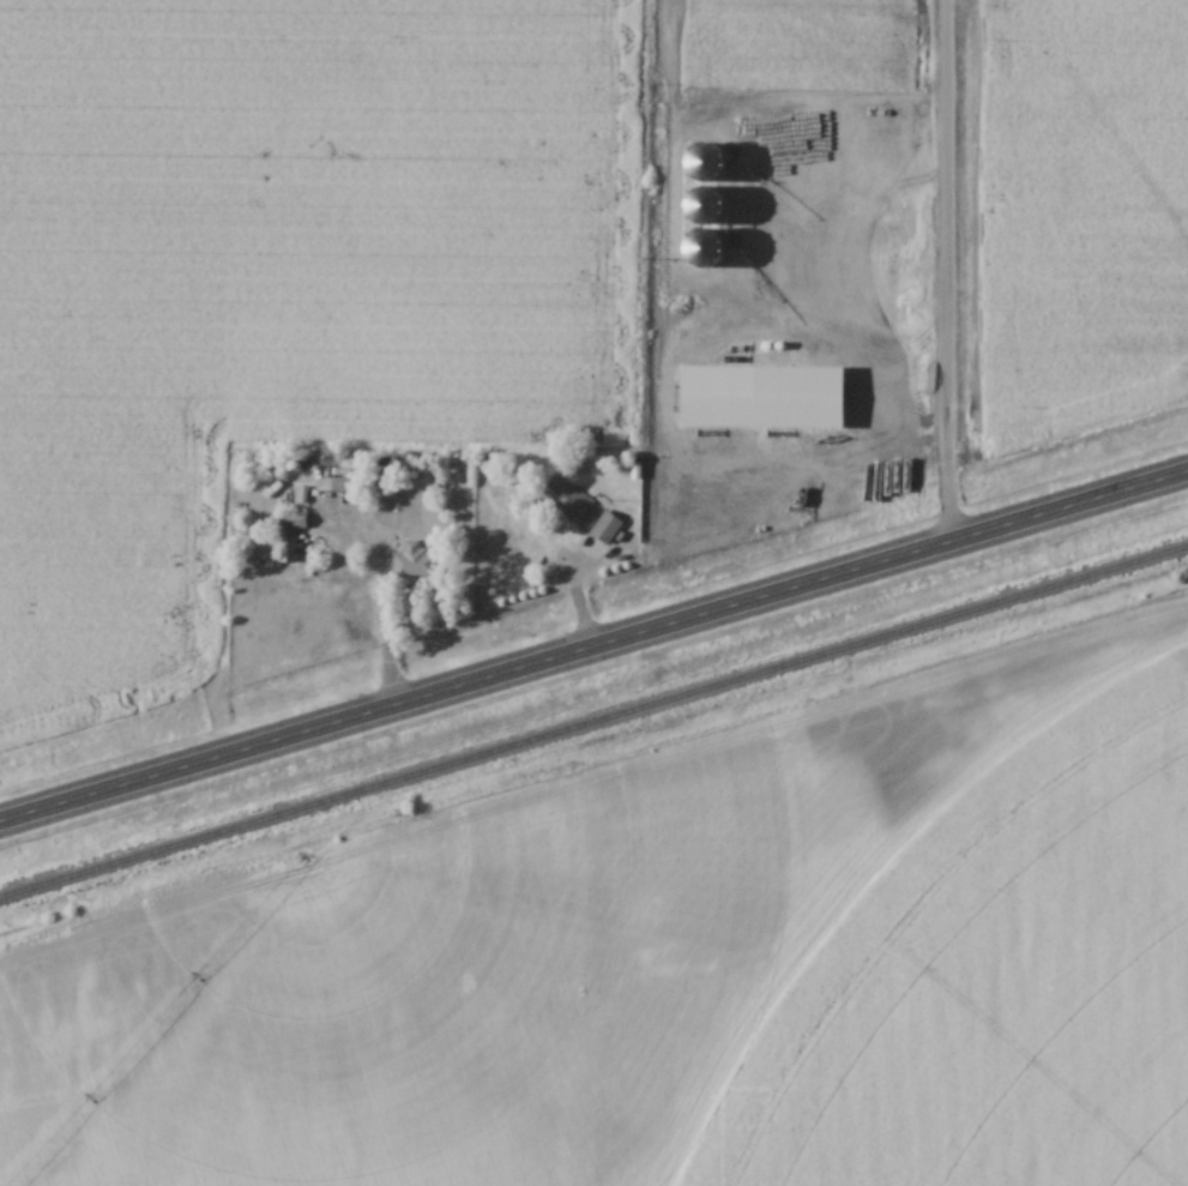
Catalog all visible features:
building: (571, 504)
building: (607, 529)
building: (290, 536)
building: (414, 562)
road: (376, 631)
road: (593, 644)
railway: (593, 727)

